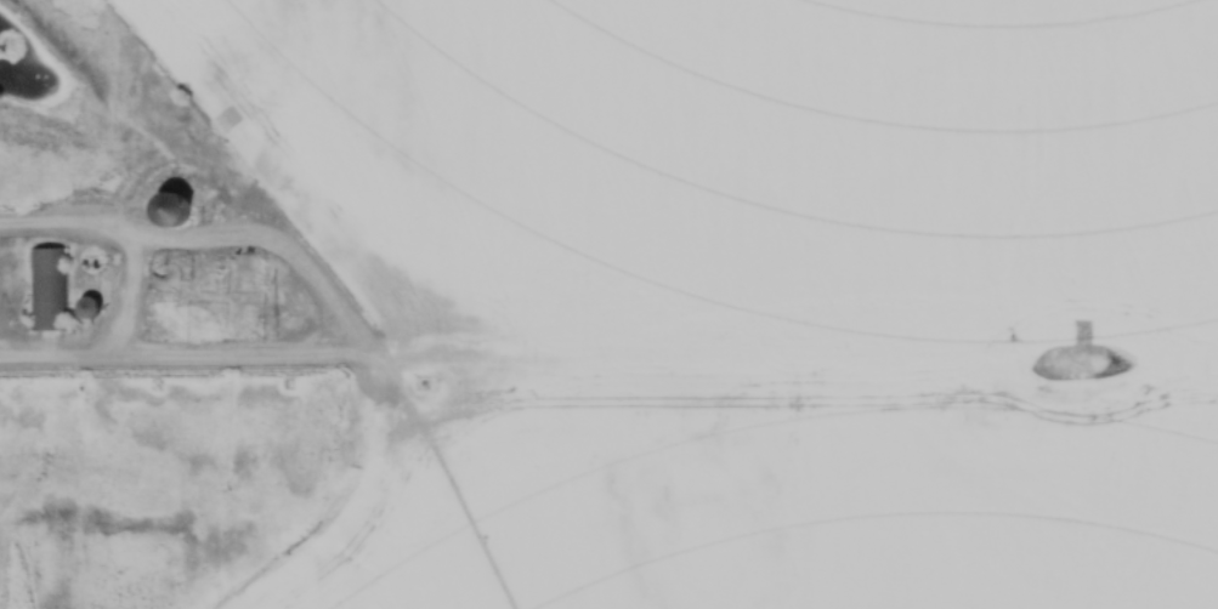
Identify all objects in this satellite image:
road: (130, 281)
building: (49, 289)
building: (89, 308)

